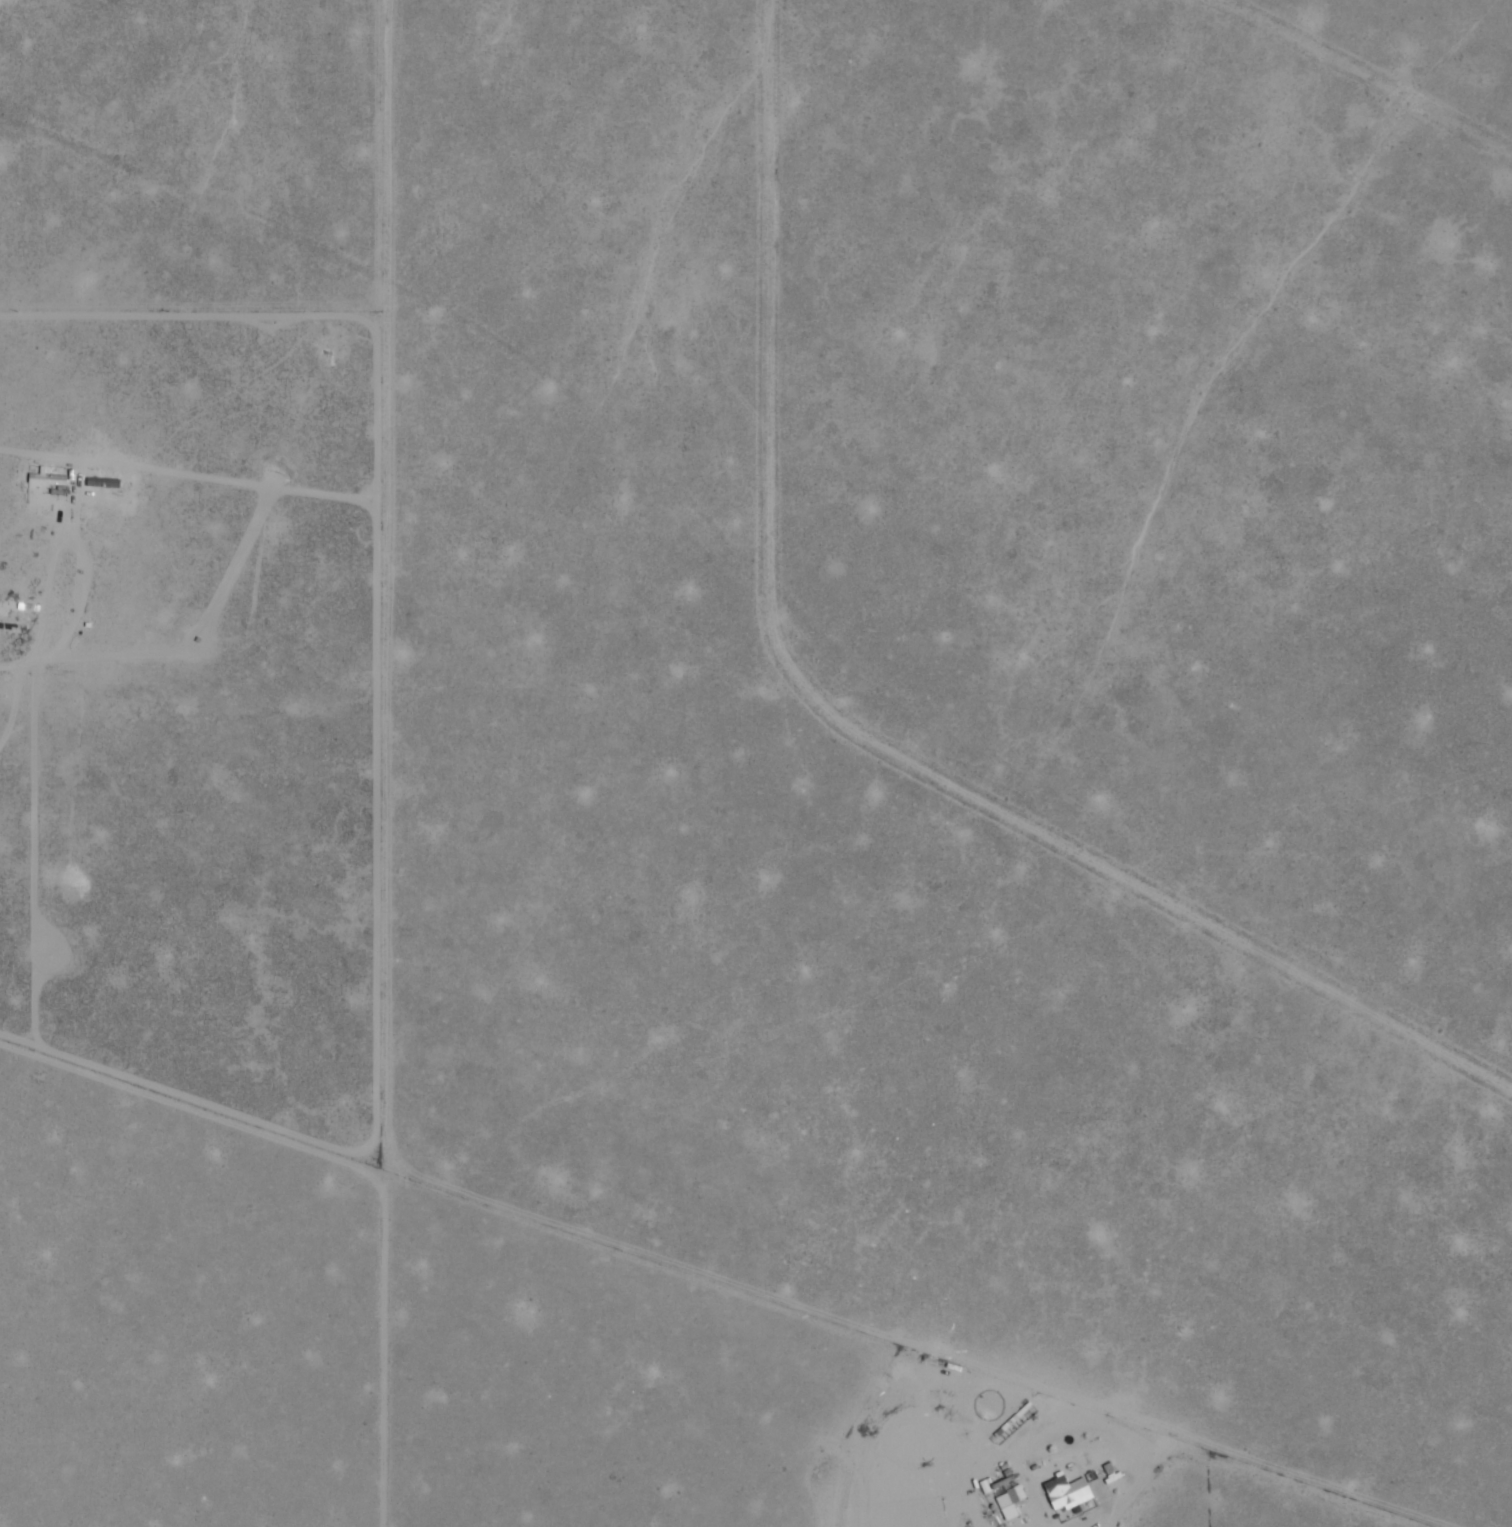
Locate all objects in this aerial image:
road: (1388, 70)
building: (51, 475)
building: (103, 480)
road: (117, 499)
road: (10, 665)
road: (845, 730)
road: (392, 763)
road: (718, 1284)
road: (1092, 1426)
building: (1080, 1496)
building: (1014, 1498)
road: (829, 1505)

